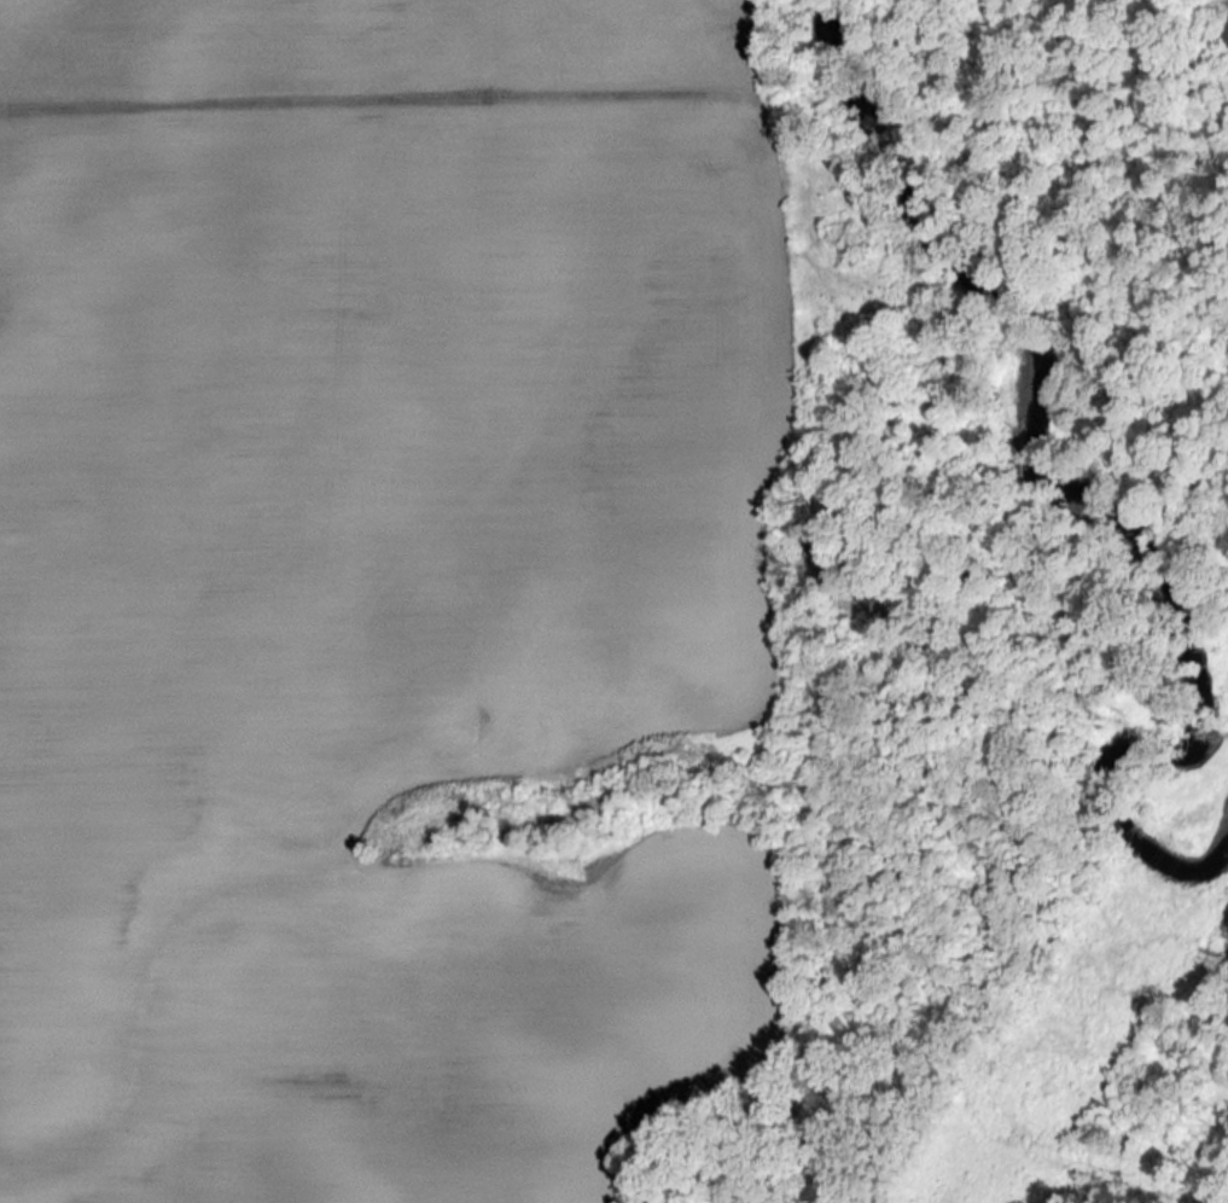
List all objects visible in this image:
river: (1066, 493)
crop: (373, 586)

